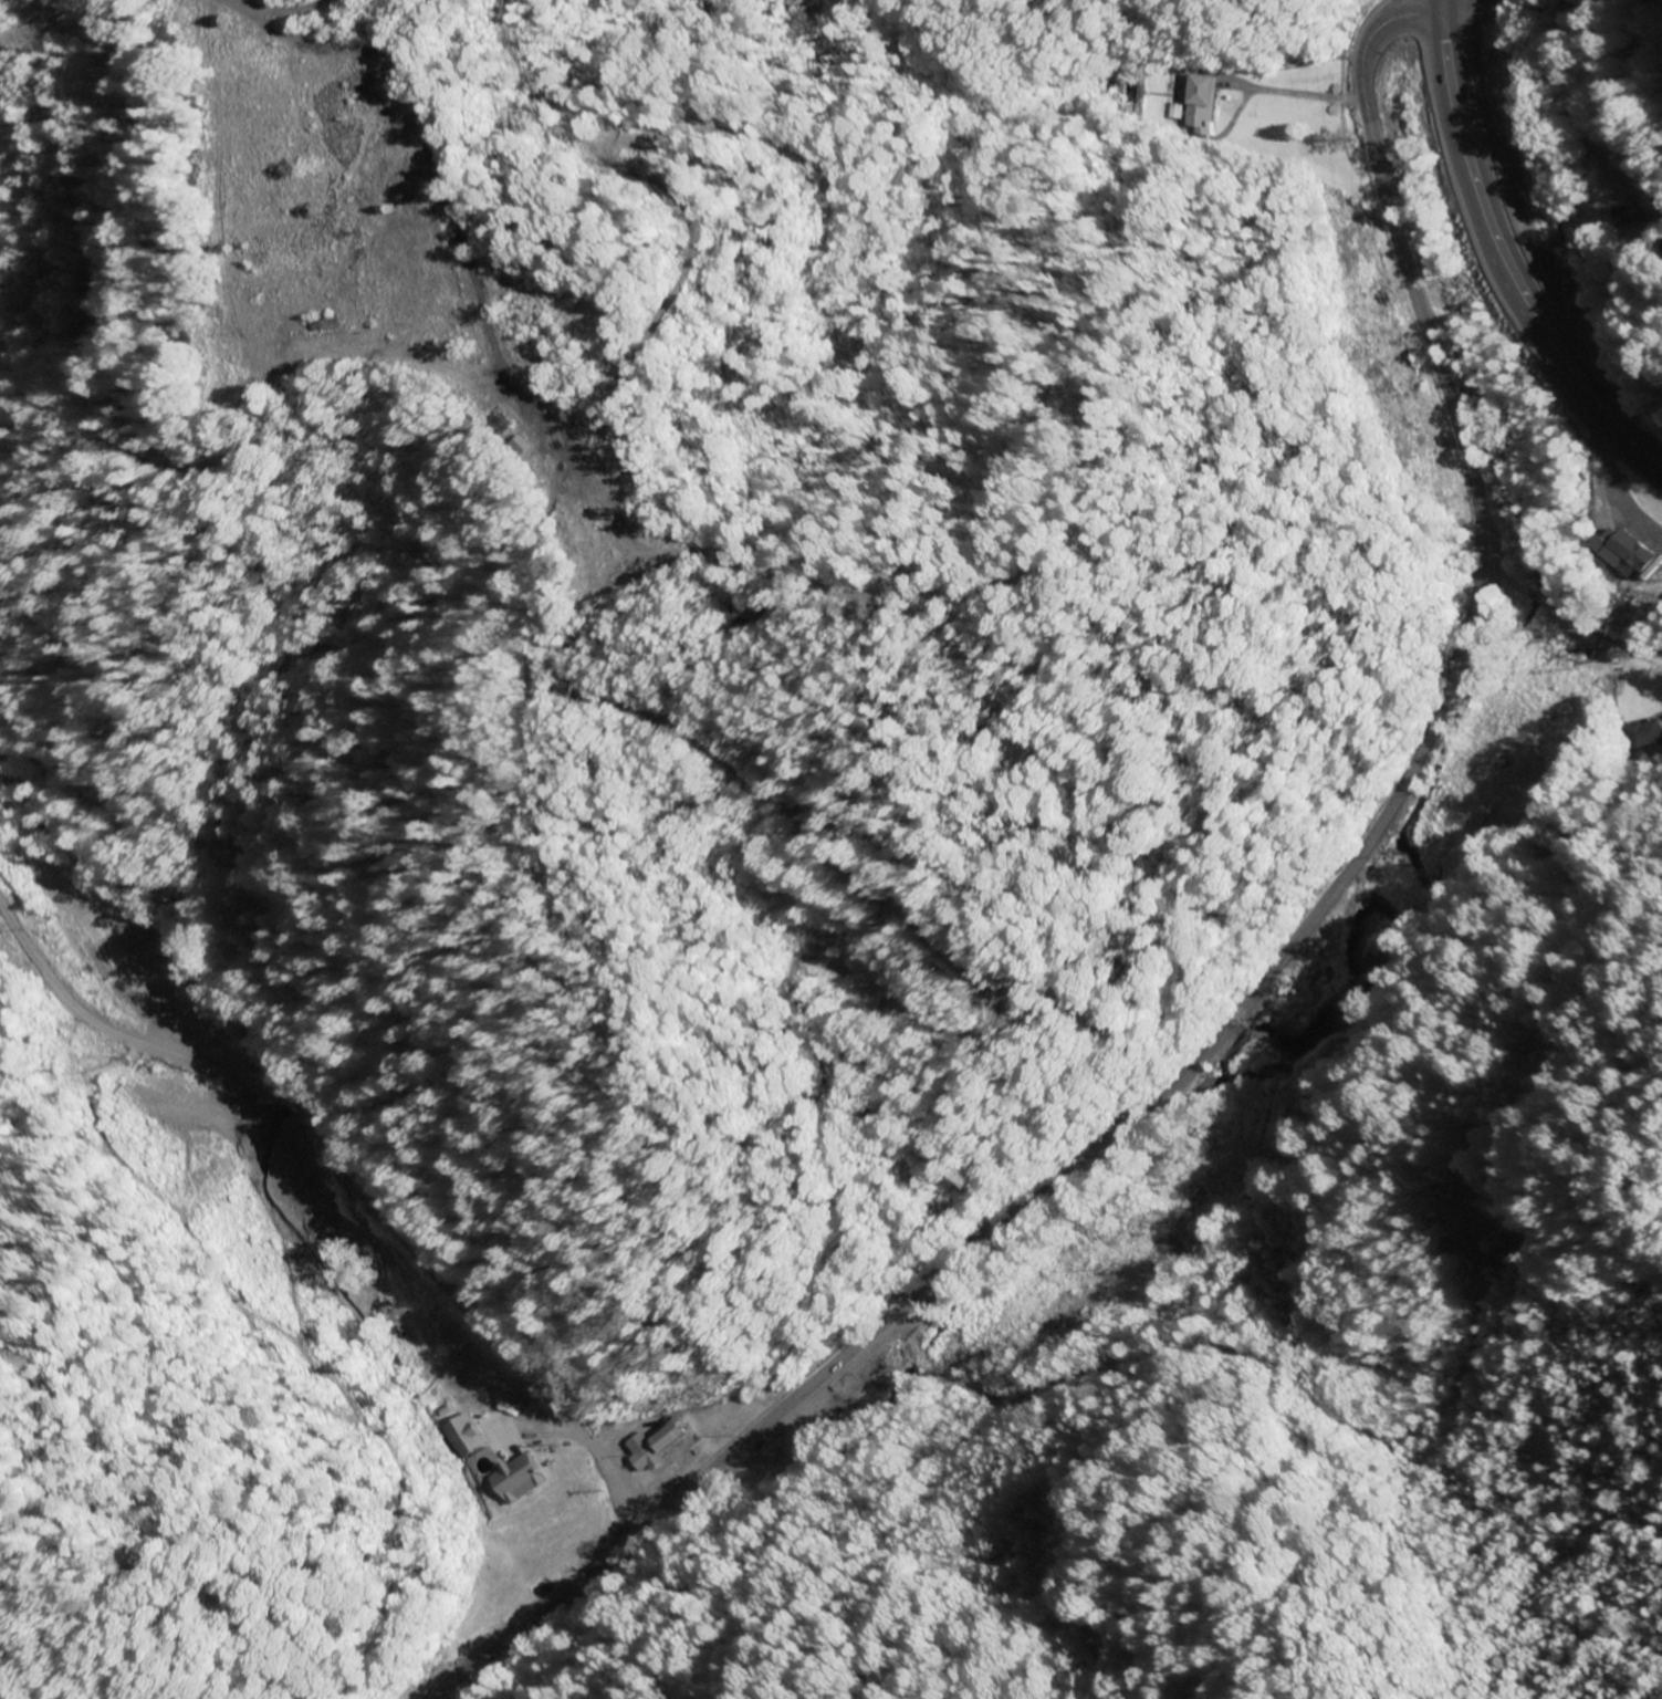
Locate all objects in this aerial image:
road: (1436, 1)
road: (1439, 1)
road: (1464, 7)
building: (1199, 104)
building: (1651, 222)
road: (1503, 257)
building: (1627, 551)
building: (1648, 733)
road: (1255, 987)
road: (349, 1172)
road: (484, 1431)
building: (648, 1457)
building: (555, 1490)

